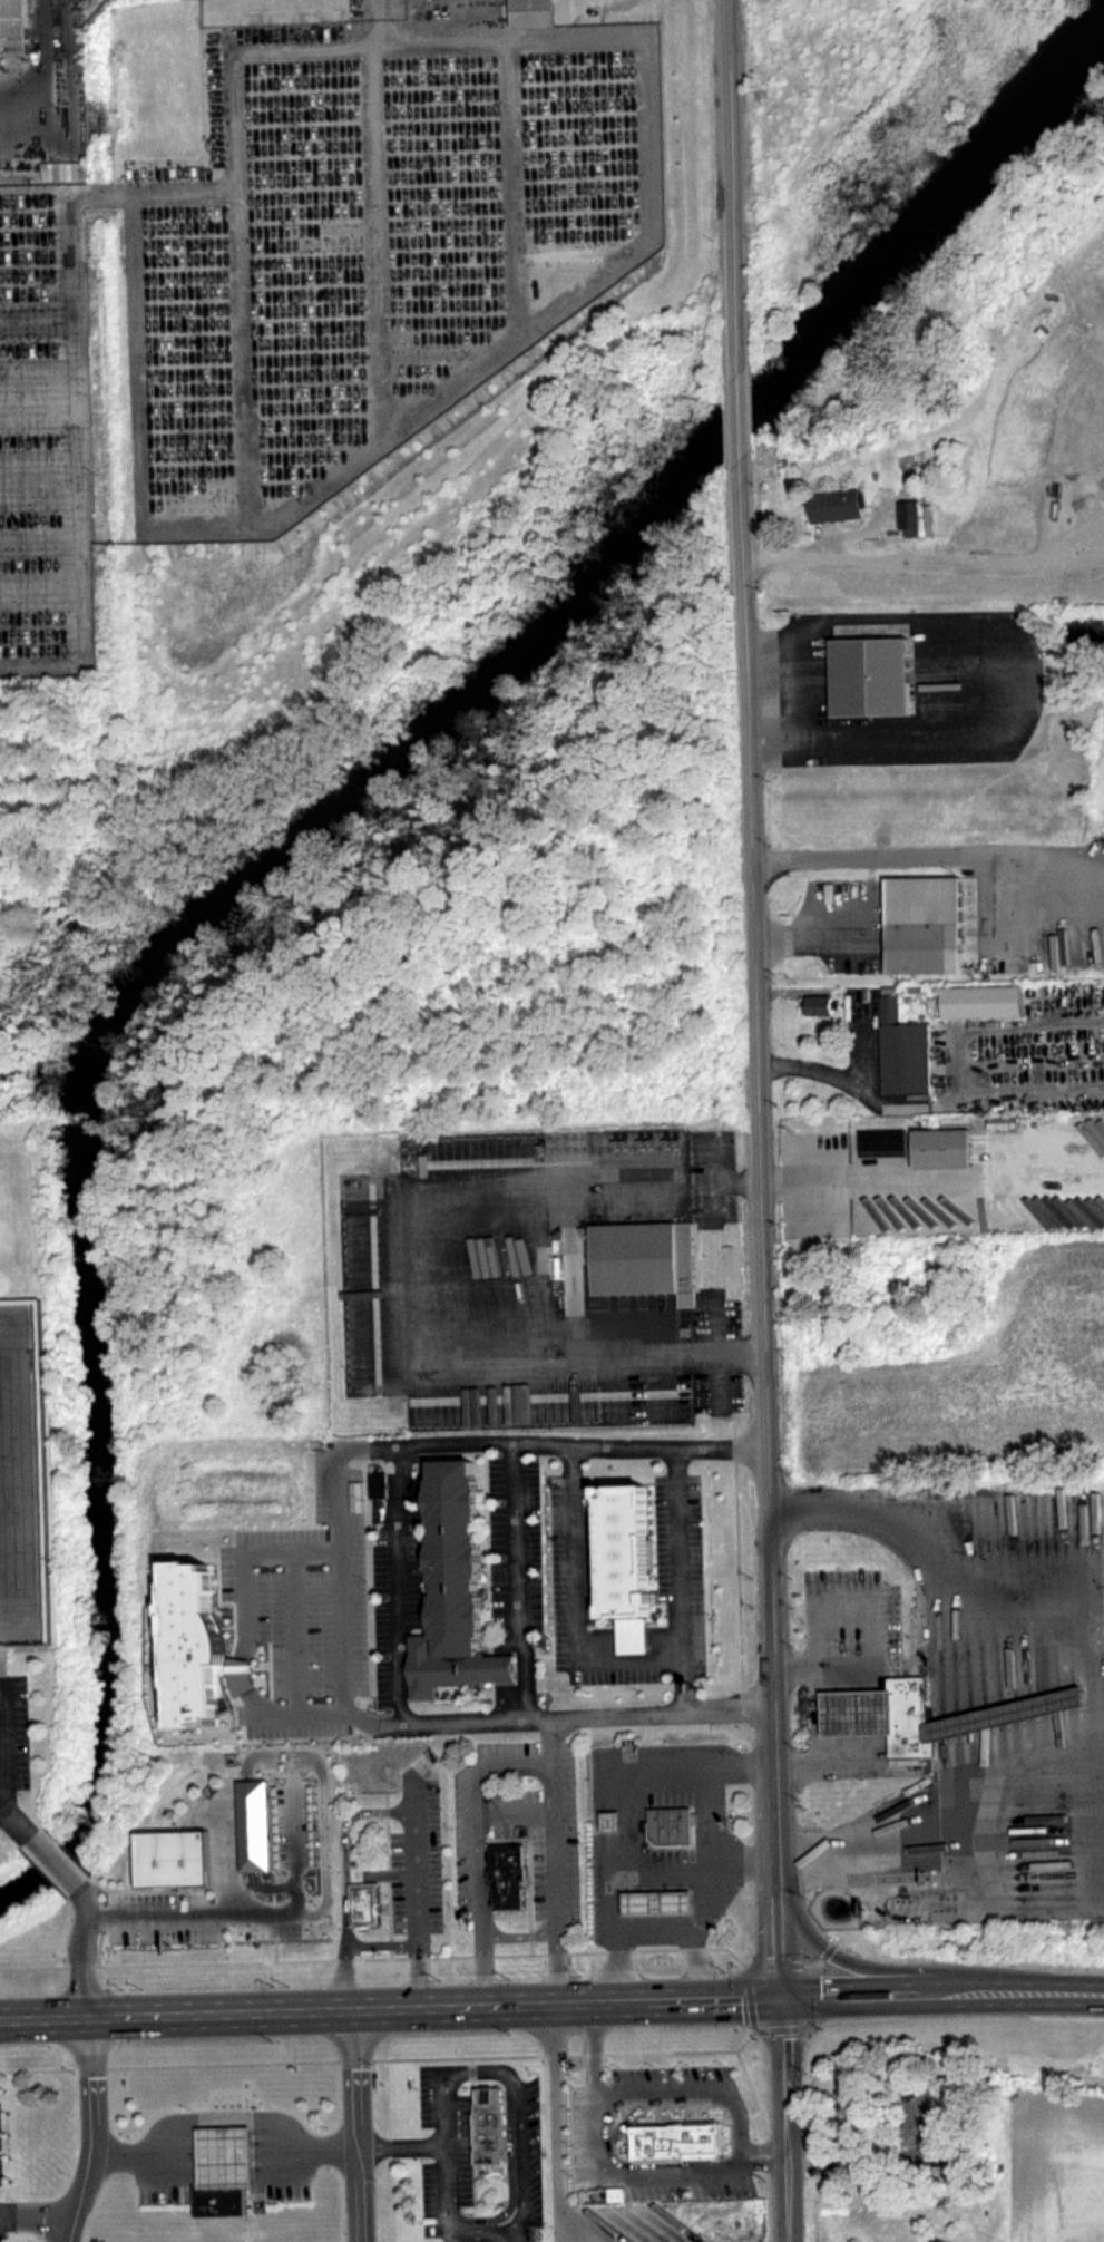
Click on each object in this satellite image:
building: (533, 12)
building: (16, 28)
road: (732, 186)
parking lot: (370, 247)
parking lot: (45, 344)
road: (739, 417)
building: (838, 505)
building: (909, 518)
road: (814, 547)
building: (864, 675)
road: (882, 857)
building: (924, 924)
road: (804, 938)
building: (980, 1000)
building: (819, 1004)
building: (901, 1050)
building: (886, 1142)
building: (945, 1148)
road: (759, 1170)
road: (926, 1178)
road: (734, 1180)
road: (805, 1180)
building: (649, 1259)
road: (406, 1318)
road: (341, 1471)
building: (23, 1478)
road: (325, 1548)
road: (678, 1553)
building: (627, 1562)
road: (397, 1585)
building: (455, 1588)
road: (877, 1625)
road: (576, 1631)
building: (193, 1647)
road: (250, 1675)
road: (1094, 1683)
gas station: (878, 1712)
road: (322, 1715)
road: (2, 1743)
road: (868, 1770)
road: (553, 1816)
road: (631, 1819)
road: (14, 1822)
building: (598, 1827)
building: (660, 1831)
road: (478, 1850)
gas station: (644, 1850)
building: (177, 1856)
road: (53, 1861)
building: (505, 1873)
road: (343, 1875)
road: (599, 1889)
road: (417, 1892)
road: (698, 1897)
building: (367, 1902)
building: (645, 1908)
road: (261, 1912)
road: (657, 1930)
road: (518, 1934)
road: (781, 1937)
road: (381, 1941)
road: (80, 1949)
road: (557, 1958)
road: (880, 1968)
road: (1063, 1991)
road: (902, 1992)
traffic signals: (783, 1996)
road: (568, 2001)
road: (177, 2012)
road: (593, 2092)
flagpole: (452, 2097)
road: (223, 2115)
road: (785, 2118)
road: (557, 2123)
road: (519, 2124)
road: (358, 2125)
building: (477, 2128)
road: (94, 2131)
building: (660, 2146)
road: (401, 2147)
road: (754, 2155)
building: (224, 2156)
gas station: (224, 2156)
road: (852, 2162)
crop: (1057, 2168)
road: (670, 2175)
road: (444, 2181)
building: (205, 2204)
road: (35, 2217)

